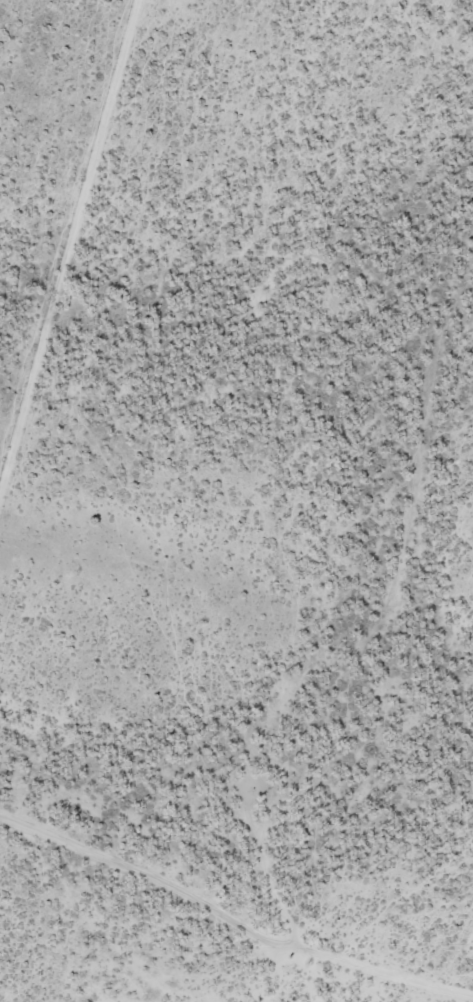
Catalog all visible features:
road: (68, 241)
road: (230, 922)

